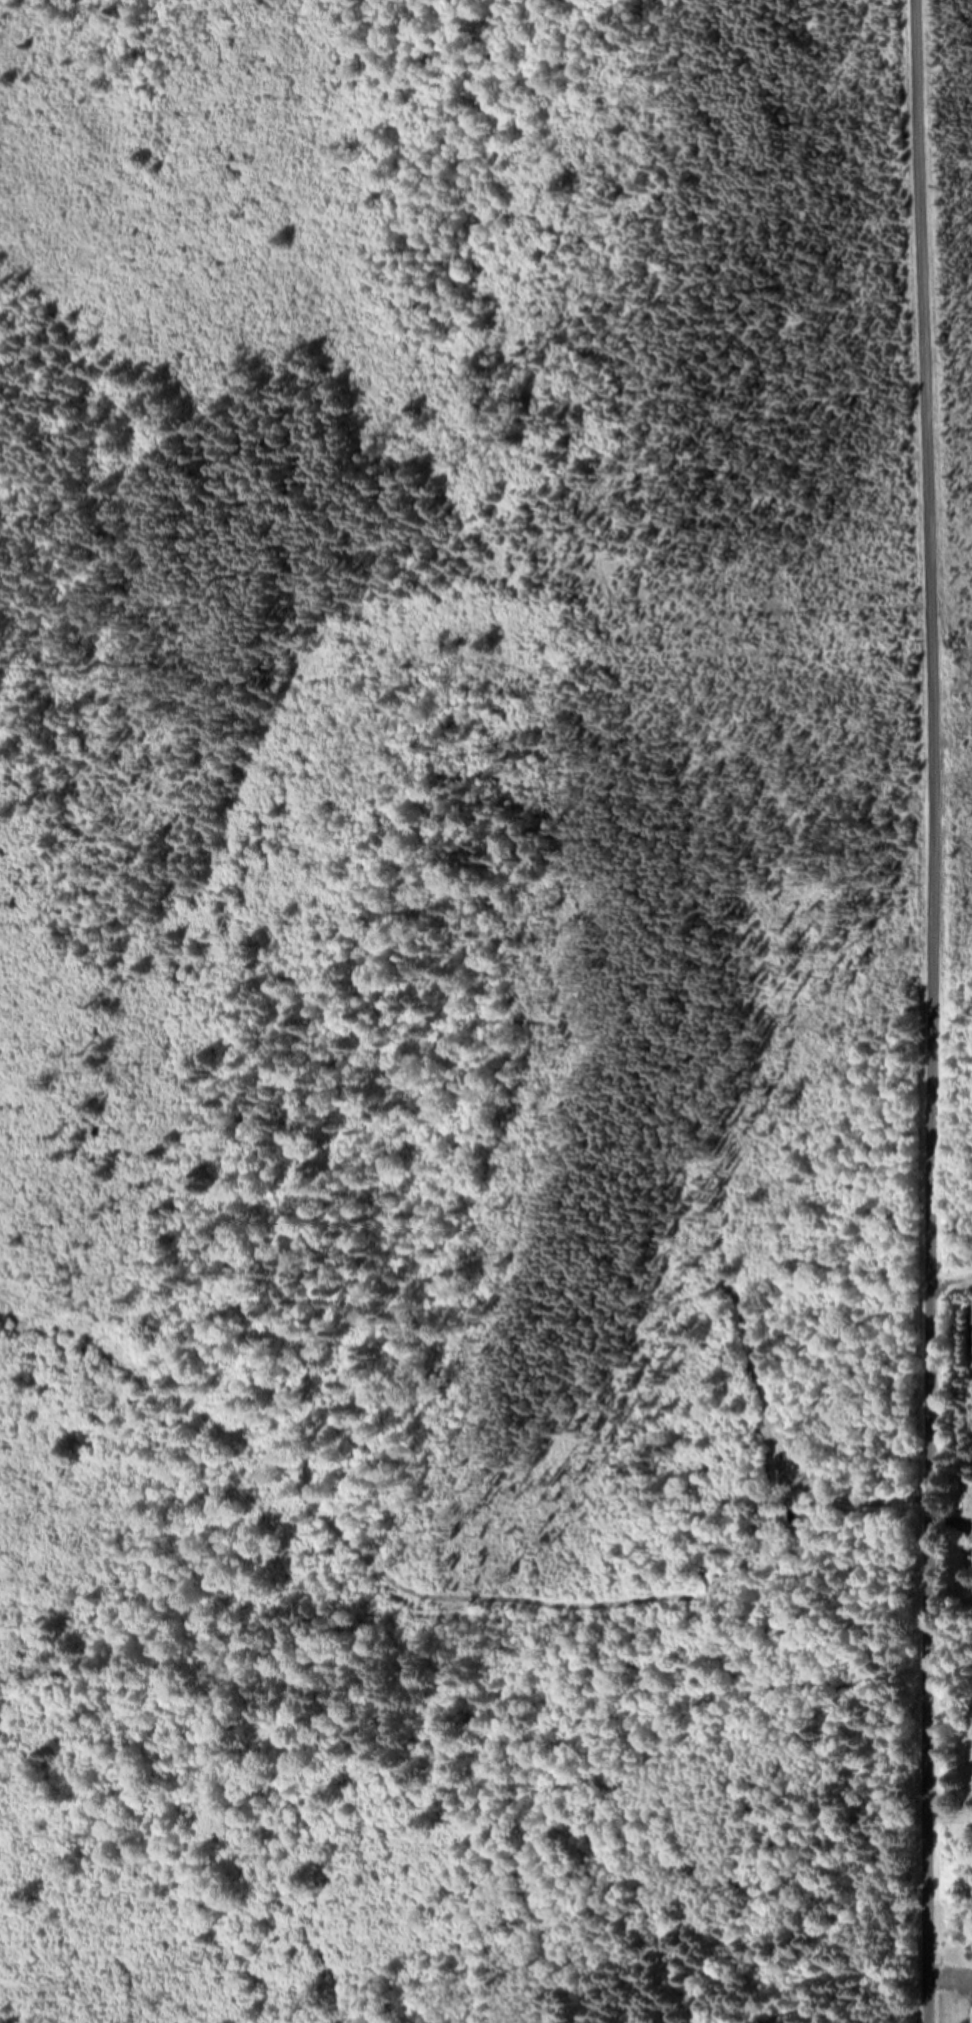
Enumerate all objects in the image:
road: (949, 1011)

